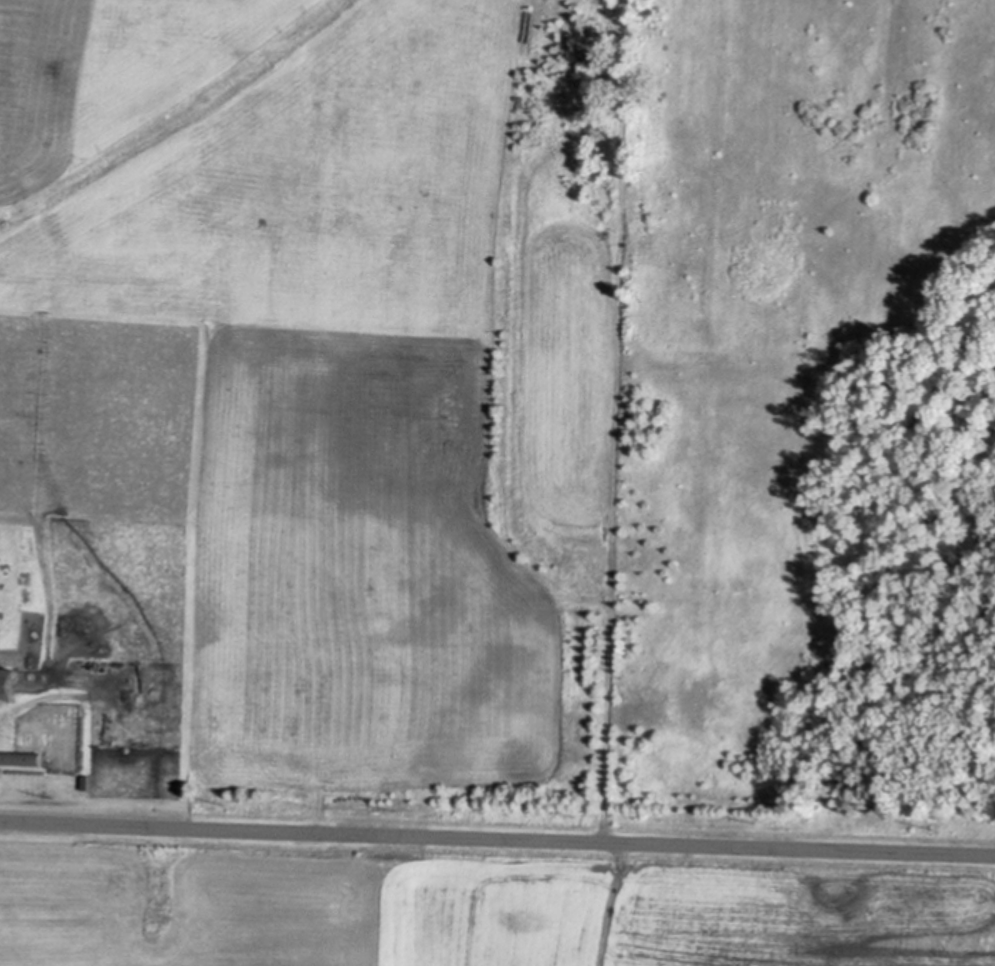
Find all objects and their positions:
building: (9, 678)
building: (20, 756)
road: (497, 834)

